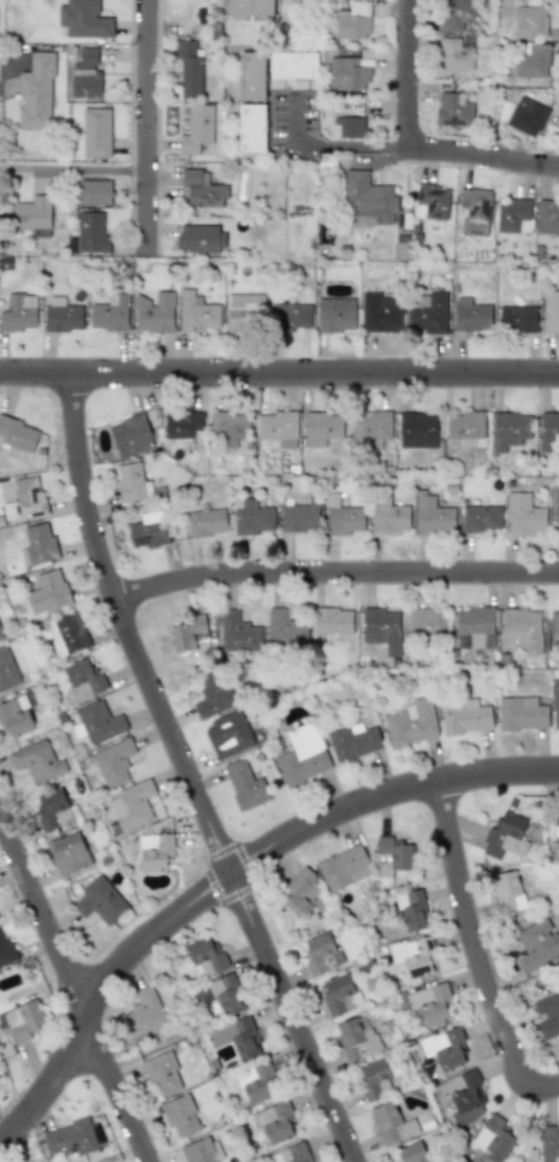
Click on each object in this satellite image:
building: (250, 7)
building: (456, 13)
building: (83, 19)
building: (353, 20)
building: (529, 22)
building: (454, 54)
building: (533, 59)
building: (293, 65)
building: (189, 67)
building: (347, 73)
building: (85, 75)
building: (251, 75)
road: (408, 77)
building: (36, 93)
road: (2, 95)
building: (453, 109)
building: (527, 115)
road: (147, 123)
building: (350, 126)
building: (196, 128)
building: (251, 128)
building: (96, 132)
road: (353, 149)
road: (483, 160)
road: (73, 172)
building: (202, 189)
building: (93, 191)
building: (369, 200)
building: (432, 202)
building: (475, 211)
building: (31, 213)
building: (513, 215)
building: (547, 217)
building: (89, 233)
building: (201, 238)
building: (551, 310)
building: (19, 312)
building: (153, 312)
building: (109, 313)
building: (197, 313)
building: (244, 313)
building: (380, 313)
building: (427, 313)
building: (334, 314)
building: (61, 315)
building: (470, 315)
building: (292, 316)
building: (517, 318)
road: (279, 377)
building: (182, 425)
building: (228, 426)
building: (278, 427)
building: (321, 427)
building: (370, 427)
building: (465, 427)
building: (417, 429)
building: (509, 429)
building: (547, 431)
building: (18, 433)
building: (130, 434)
building: (131, 482)
building: (25, 499)
building: (555, 504)
building: (387, 514)
building: (524, 514)
building: (432, 515)
building: (299, 516)
building: (251, 517)
building: (481, 518)
building: (344, 520)
building: (207, 522)
building: (148, 529)
building: (37, 544)
road: (333, 575)
building: (47, 592)
building: (331, 621)
building: (427, 622)
building: (554, 623)
building: (471, 626)
building: (283, 627)
building: (381, 628)
building: (522, 629)
building: (188, 633)
building: (238, 633)
building: (66, 634)
building: (0, 635)
building: (6, 669)
building: (84, 678)
building: (213, 695)
building: (555, 711)
building: (521, 713)
building: (16, 716)
building: (464, 716)
building: (99, 721)
building: (411, 723)
building: (231, 735)
building: (353, 741)
building: (302, 754)
building: (36, 760)
building: (113, 761)
road: (185, 776)
building: (244, 784)
building: (131, 805)
building: (53, 810)
building: (504, 836)
building: (155, 850)
building: (67, 853)
building: (392, 858)
building: (340, 866)
building: (359, 873)
road: (227, 876)
building: (506, 891)
building: (303, 896)
building: (100, 900)
building: (411, 911)
building: (536, 943)
building: (5, 949)
road: (474, 953)
building: (321, 954)
building: (206, 955)
building: (414, 955)
road: (72, 991)
building: (227, 994)
building: (339, 996)
building: (429, 1002)
building: (144, 1012)
building: (547, 1014)
building: (22, 1020)
building: (236, 1037)
building: (355, 1038)
building: (445, 1048)
building: (162, 1074)
building: (375, 1078)
building: (256, 1084)
building: (464, 1096)
building: (180, 1116)
building: (274, 1121)
building: (391, 1124)
building: (494, 1137)
building: (70, 1140)
building: (548, 1144)
building: (201, 1150)
building: (414, 1152)
building: (291, 1154)

